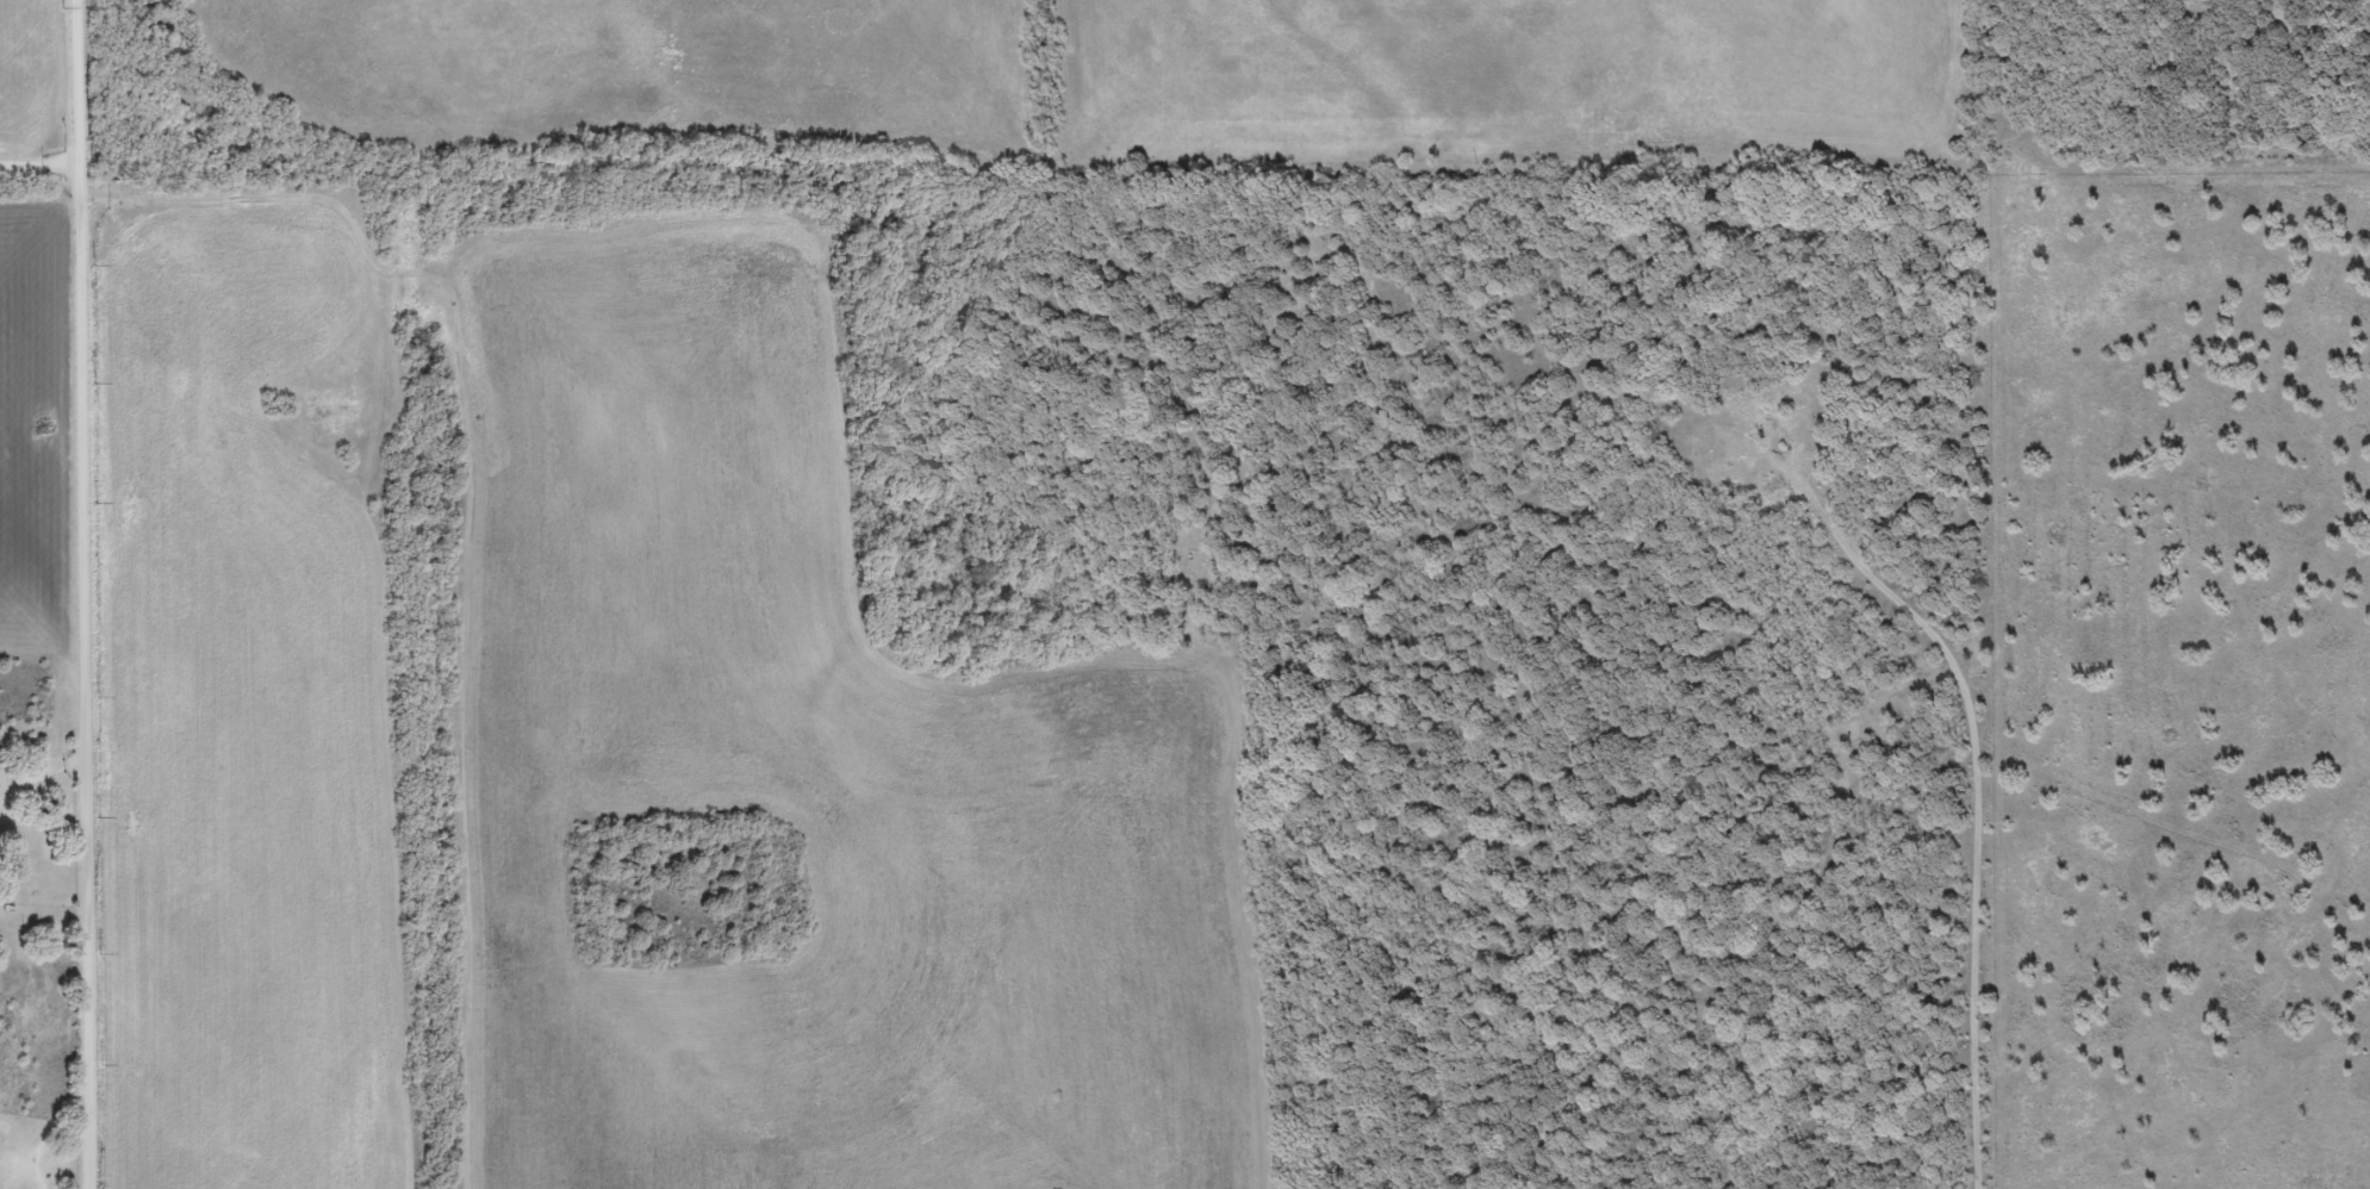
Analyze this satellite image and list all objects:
road: (41, 173)
road: (86, 593)

